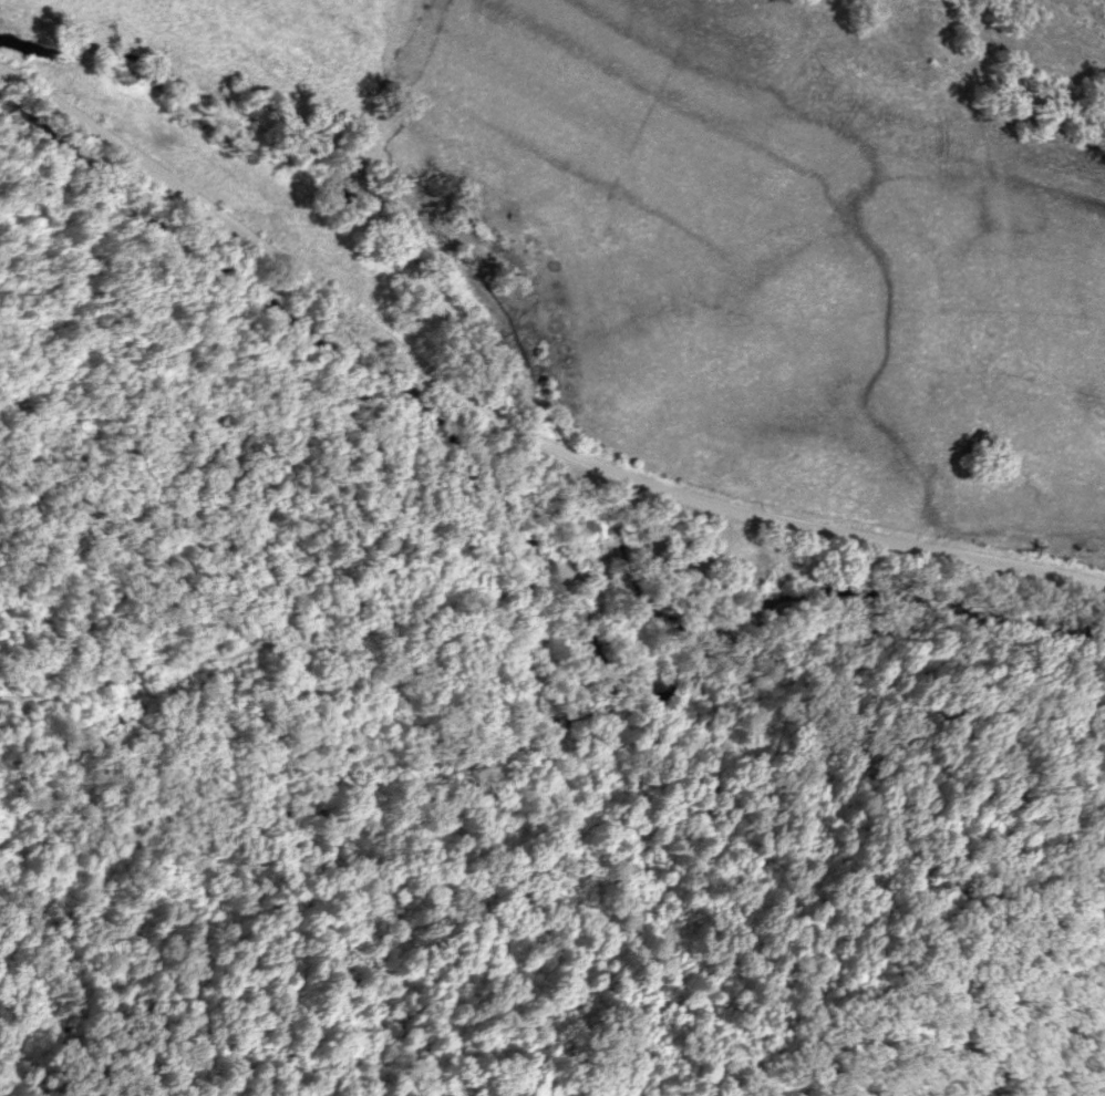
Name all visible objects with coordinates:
road: (504, 434)

